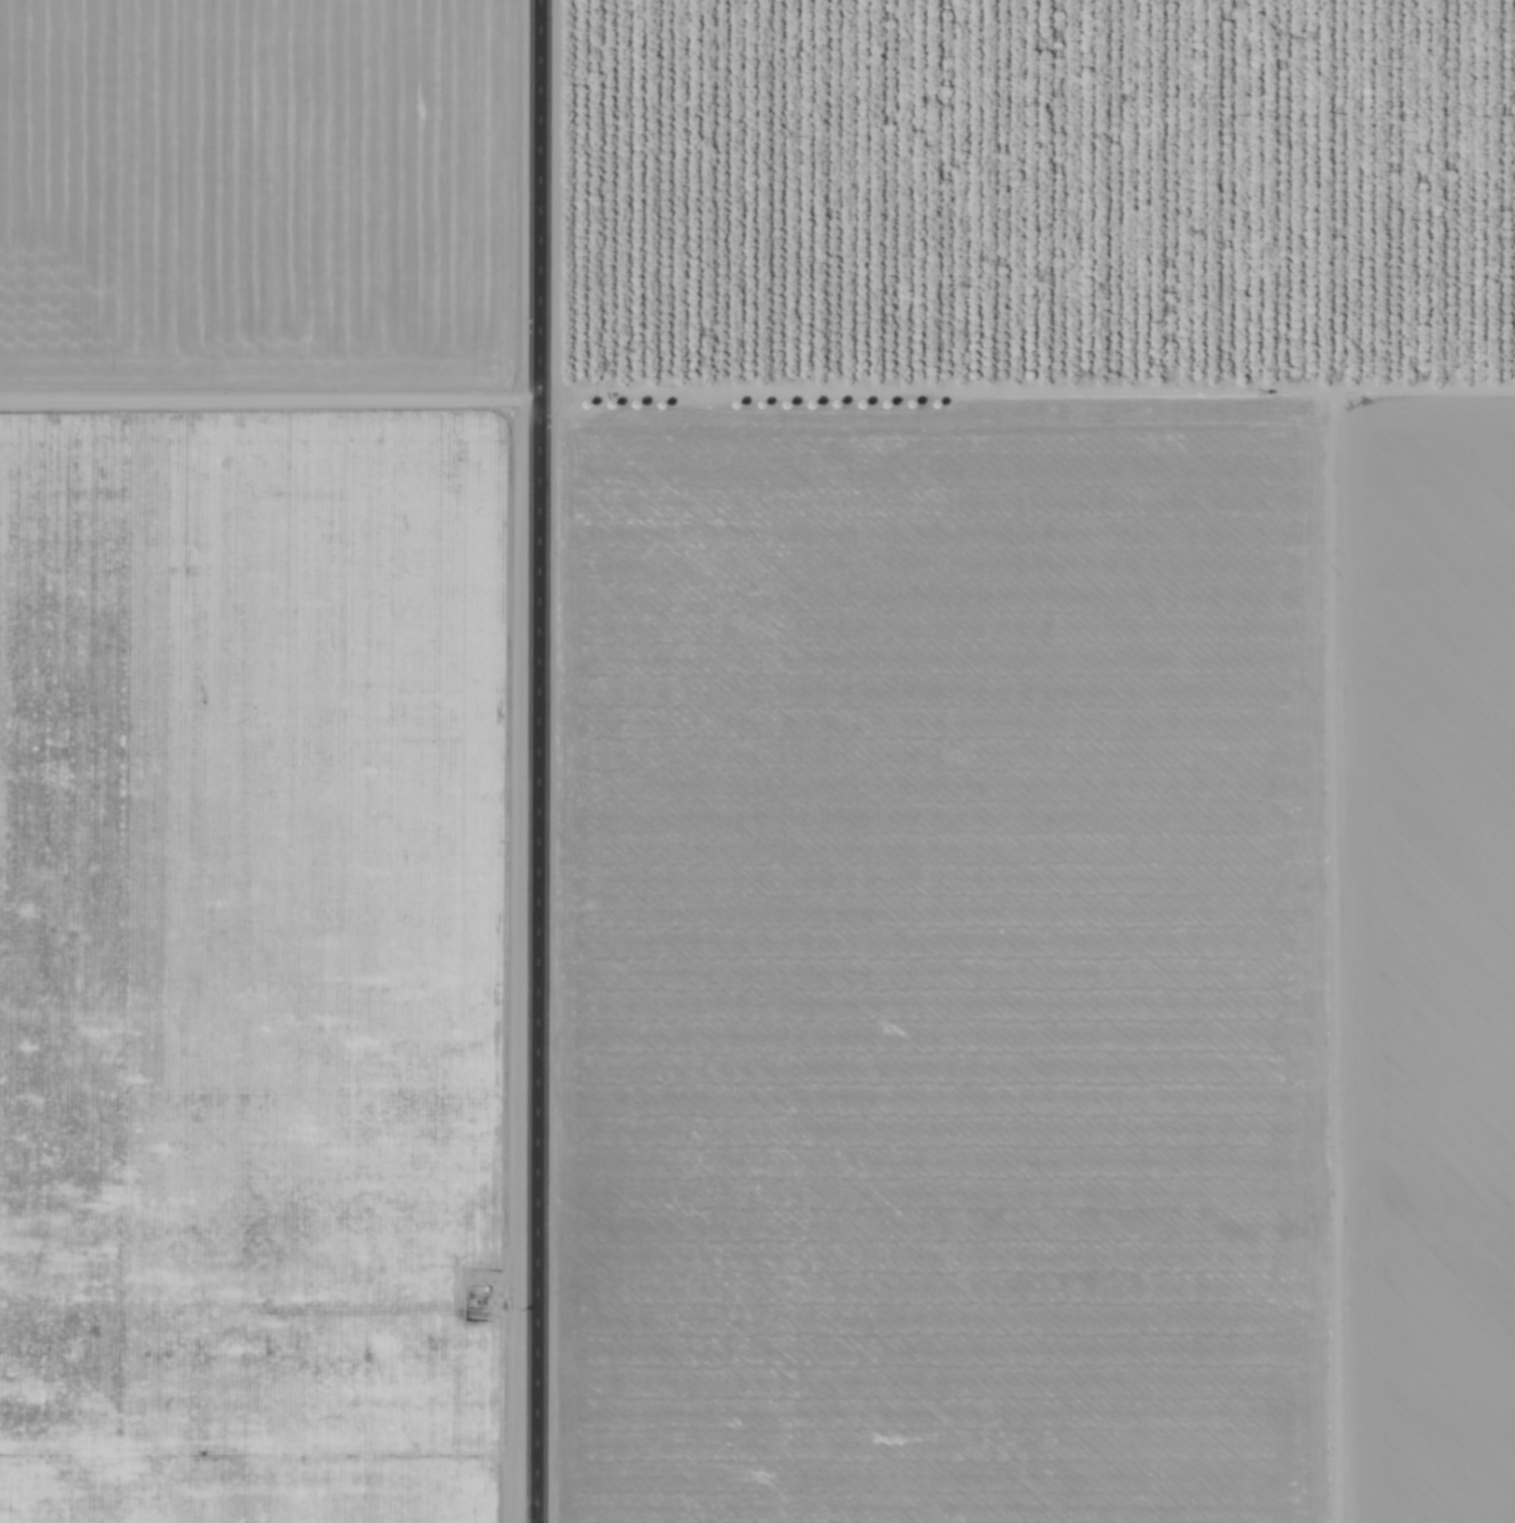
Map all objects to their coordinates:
road: (757, 387)
crop: (261, 613)
road: (540, 761)
crop: (956, 824)

